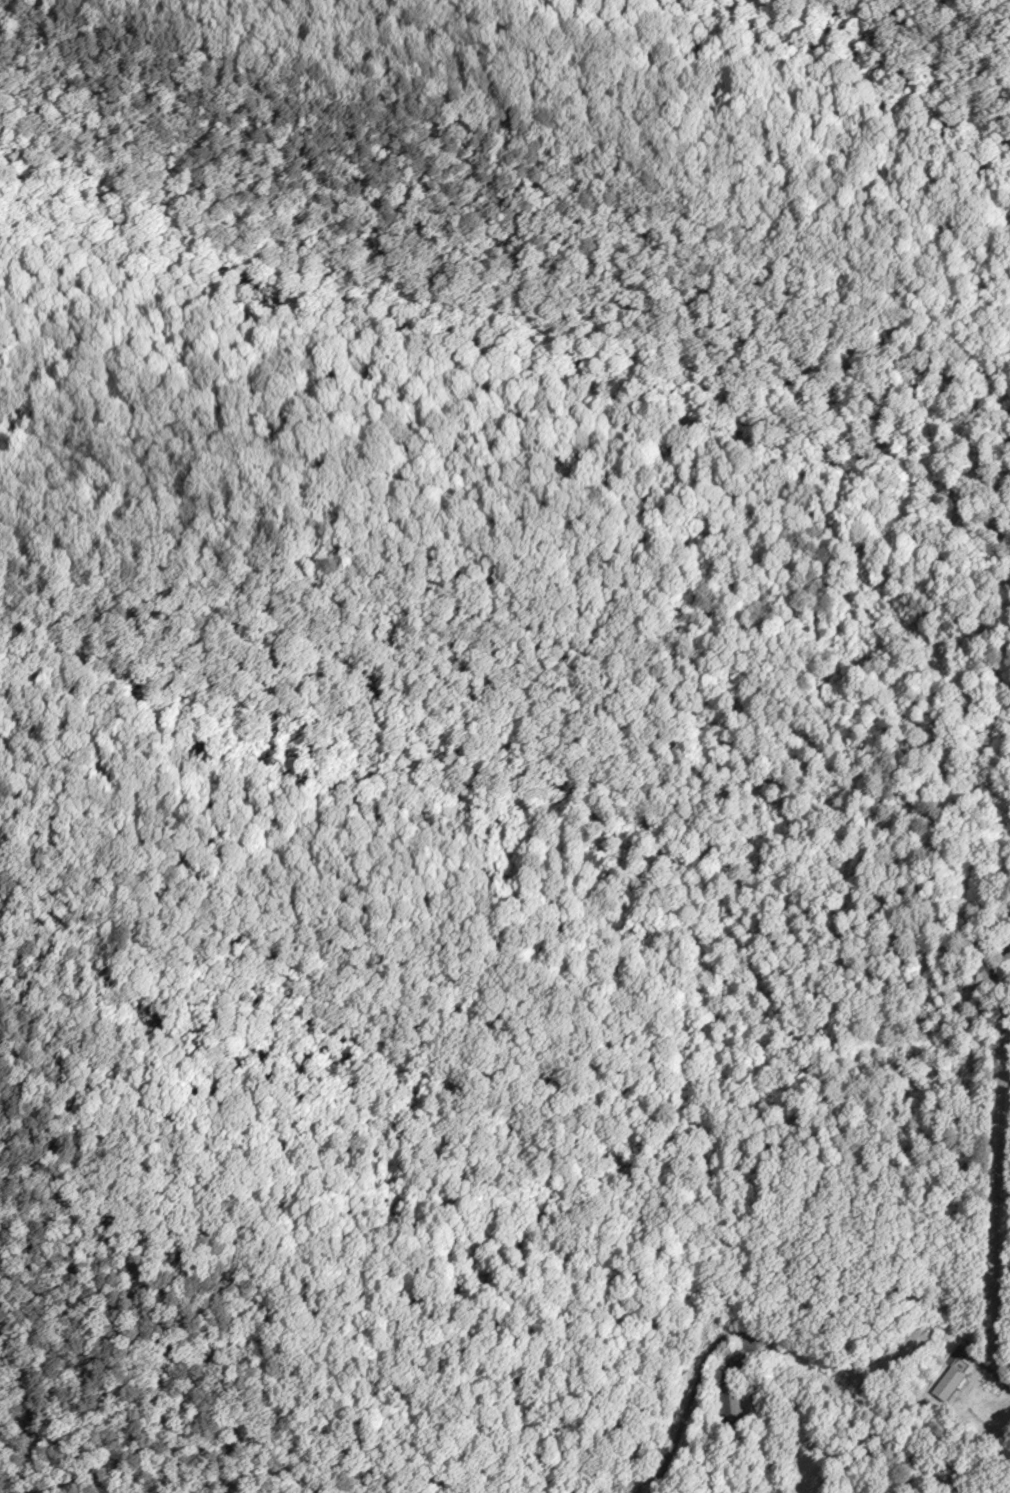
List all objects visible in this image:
building: (951, 1389)

